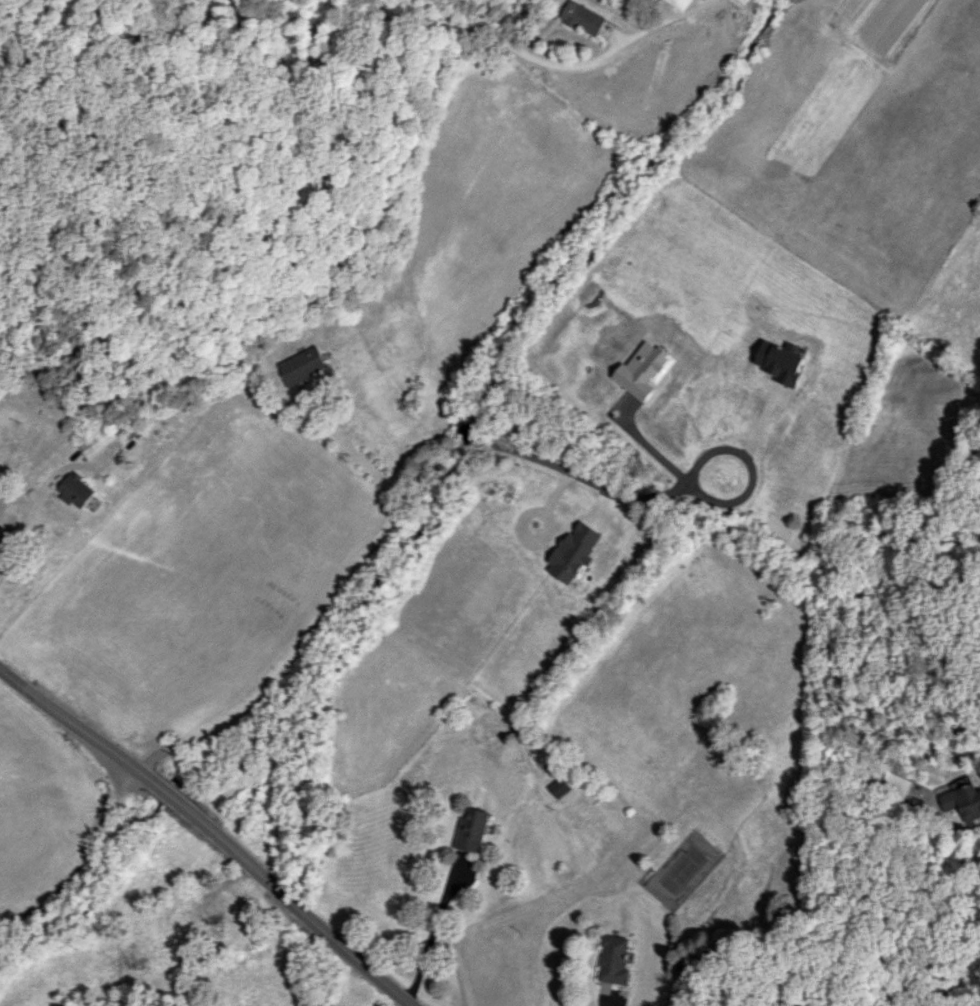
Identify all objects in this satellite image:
building: (744, 1)
building: (680, 3)
building: (583, 18)
road: (541, 60)
road: (261, 243)
building: (780, 362)
building: (301, 365)
road: (754, 437)
building: (96, 441)
road: (652, 451)
road: (361, 457)
building: (75, 490)
road: (34, 501)
road: (396, 510)
building: (559, 787)
building: (963, 801)
road: (196, 817)
building: (472, 829)
road: (84, 863)
road: (431, 938)
building: (613, 960)
road: (398, 992)
road: (614, 1000)
road: (413, 1005)

